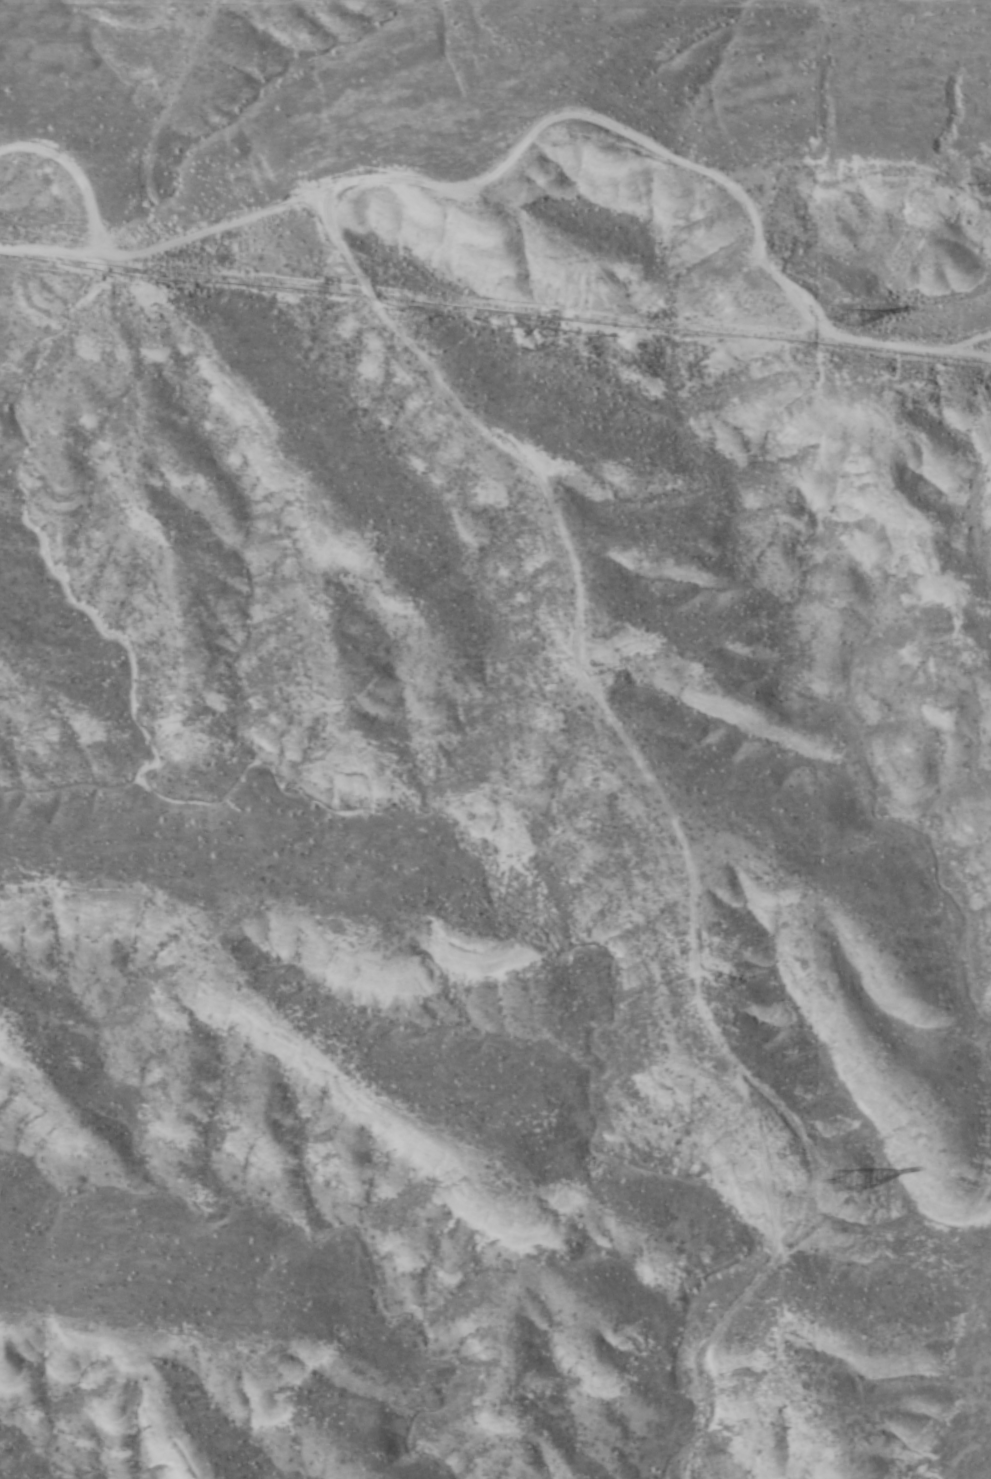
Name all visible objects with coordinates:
road: (518, 182)
power tower: (844, 320)
power tower: (844, 1180)

